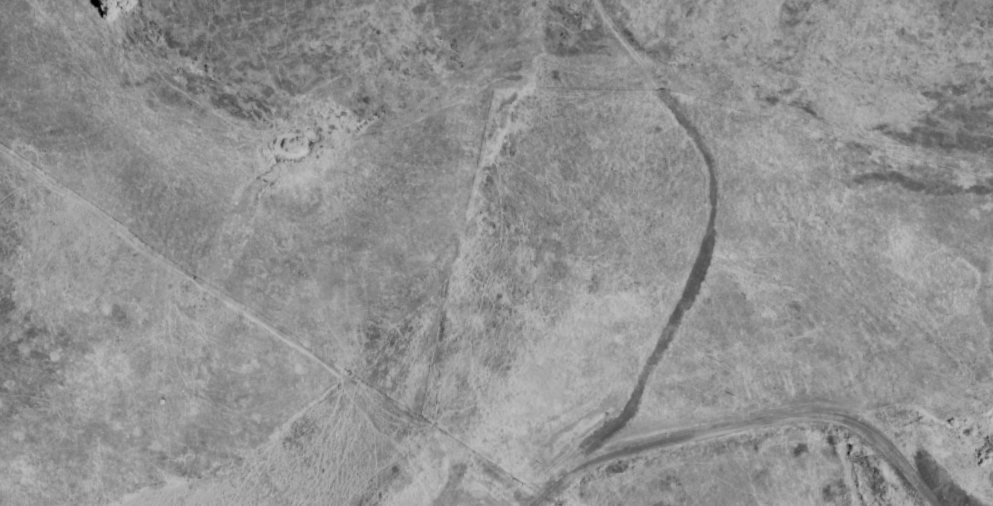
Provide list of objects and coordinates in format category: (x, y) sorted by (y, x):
road: (709, 229)
road: (742, 429)

